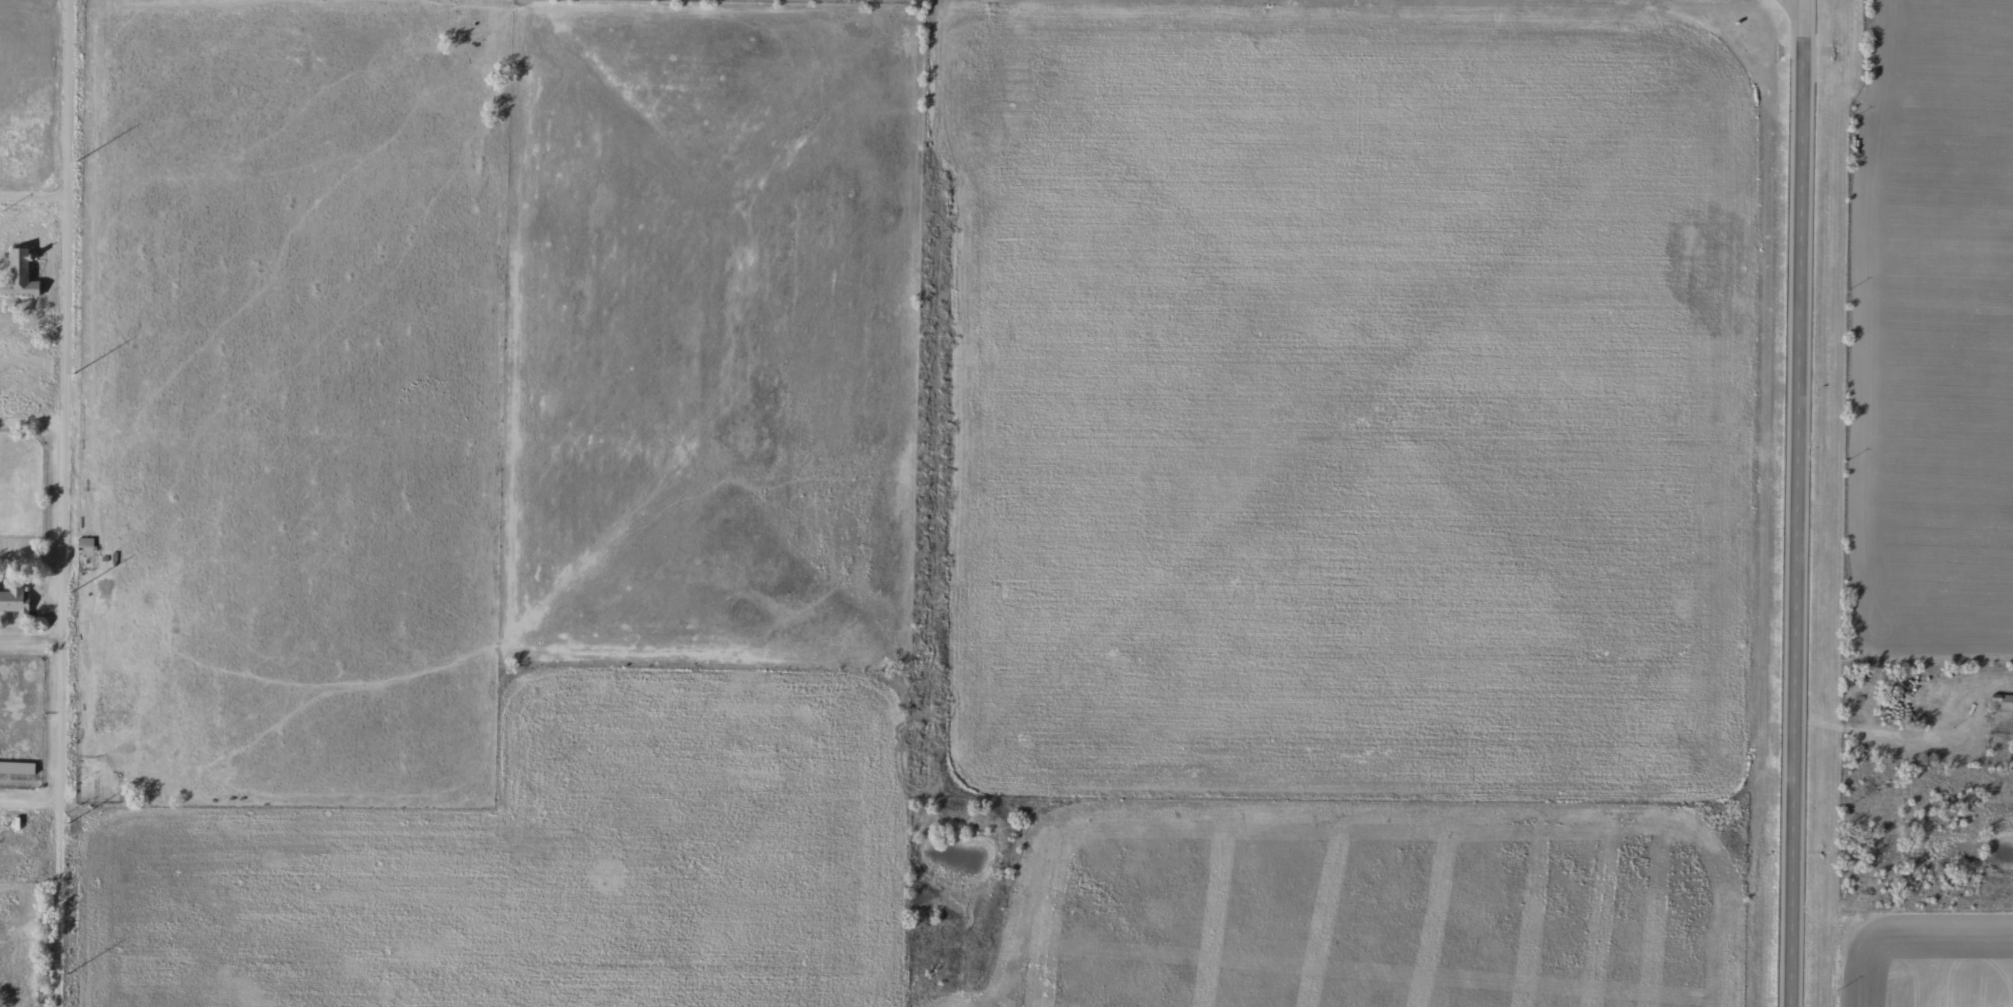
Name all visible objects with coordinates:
road: (30, 197)
building: (16, 276)
road: (27, 421)
road: (56, 503)
road: (1797, 503)
building: (11, 600)
road: (29, 641)
building: (2000, 702)
building: (1904, 704)
road: (1917, 746)
building: (14, 768)
road: (28, 798)

